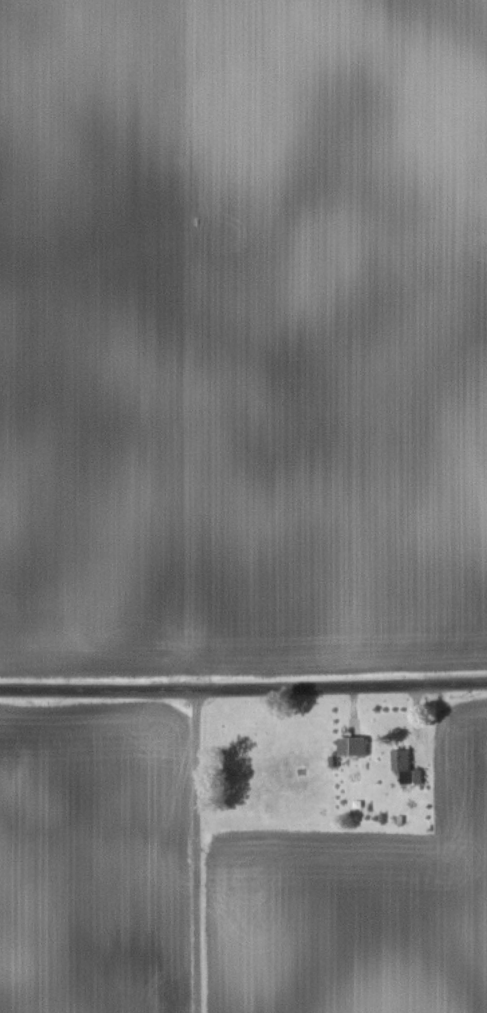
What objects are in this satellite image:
road: (243, 688)
building: (352, 747)
building: (406, 768)
road: (196, 851)

